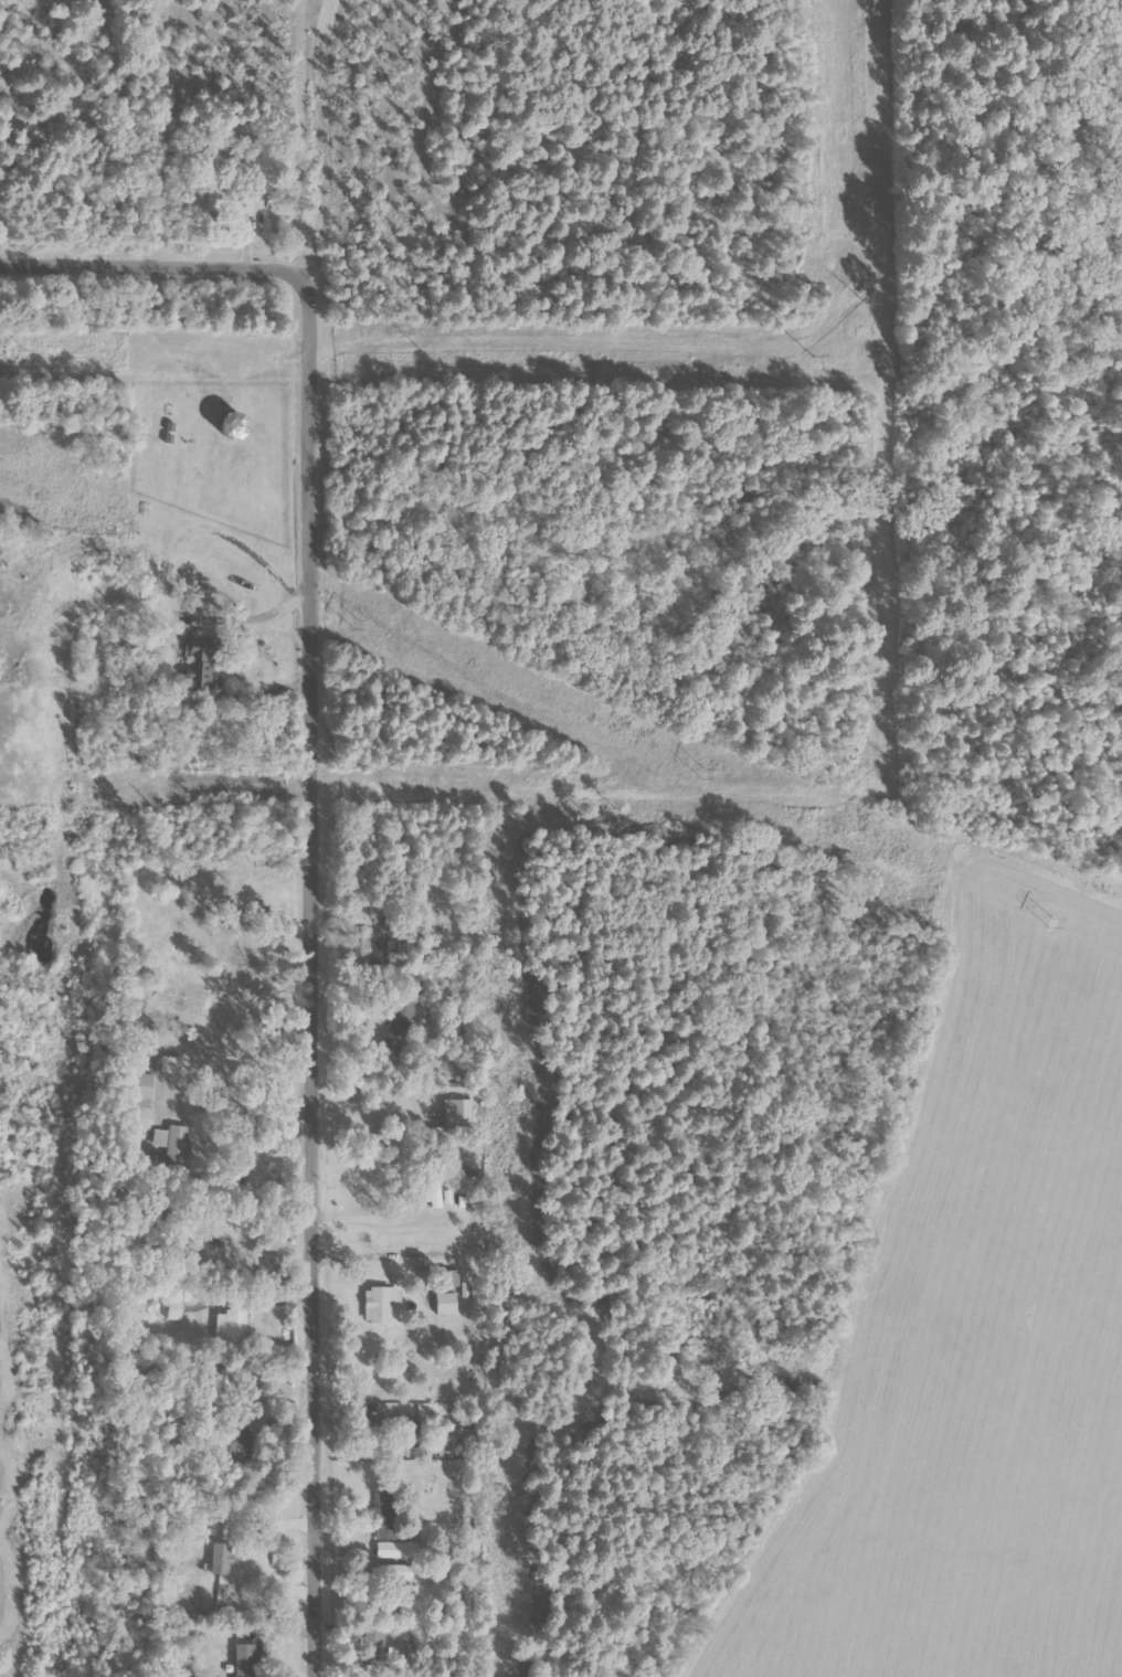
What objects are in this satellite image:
building: (226, 199)
power tower: (353, 623)
building: (201, 669)
power tower: (685, 769)
road: (317, 825)
power tower: (1031, 914)
building: (377, 943)
building: (403, 1018)
building: (170, 1064)
building: (142, 1100)
building: (459, 1112)
building: (172, 1143)
building: (434, 1193)
road: (378, 1219)
road: (382, 1257)
building: (453, 1278)
building: (380, 1304)
building: (446, 1304)
building: (174, 1309)
building: (231, 1327)
building: (241, 1446)
building: (383, 1514)
building: (399, 1550)
building: (221, 1559)
building: (244, 1660)

